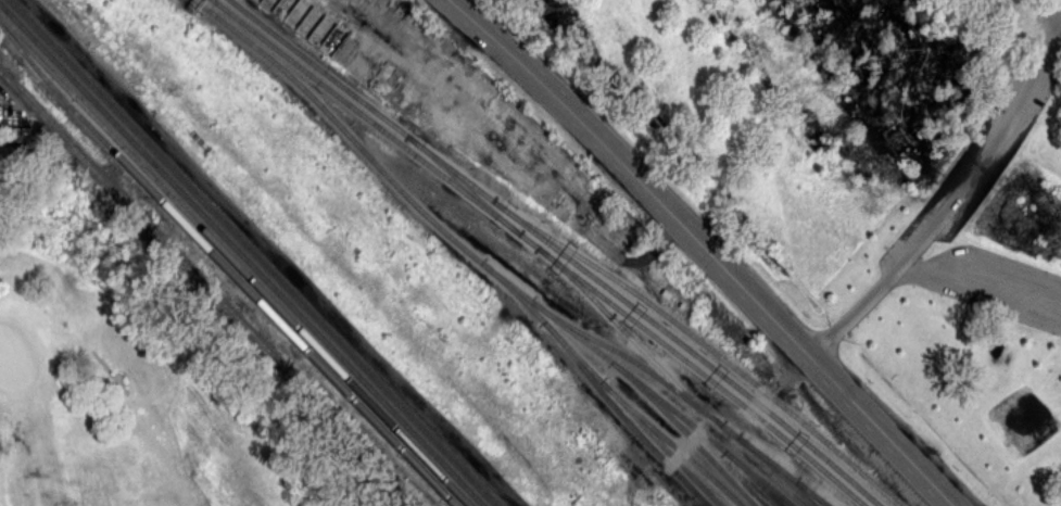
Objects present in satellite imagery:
parking lot: (1048, 18)
parking lot: (974, 163)
railway: (463, 185)
road: (952, 201)
railway: (541, 250)
railway: (557, 250)
road: (708, 250)
road: (59, 253)
railway: (252, 253)
railway: (241, 254)
railway: (233, 262)
railway: (484, 264)
railway: (223, 267)
road: (908, 268)
road: (917, 270)
parking lot: (995, 283)
railway: (207, 289)
railway: (629, 337)
railway: (704, 343)
park: (14, 360)
park: (134, 370)
road: (112, 371)
railway: (605, 384)
railway: (685, 397)
railway: (624, 416)
railway: (685, 432)
railway: (671, 441)
railway: (776, 471)
railway: (753, 478)
railway: (810, 493)

